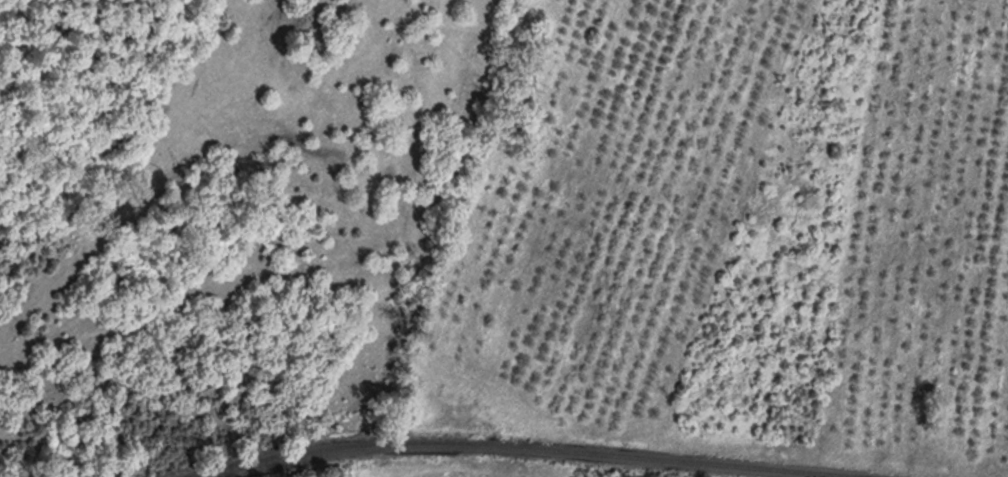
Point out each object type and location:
railway: (522, 449)

